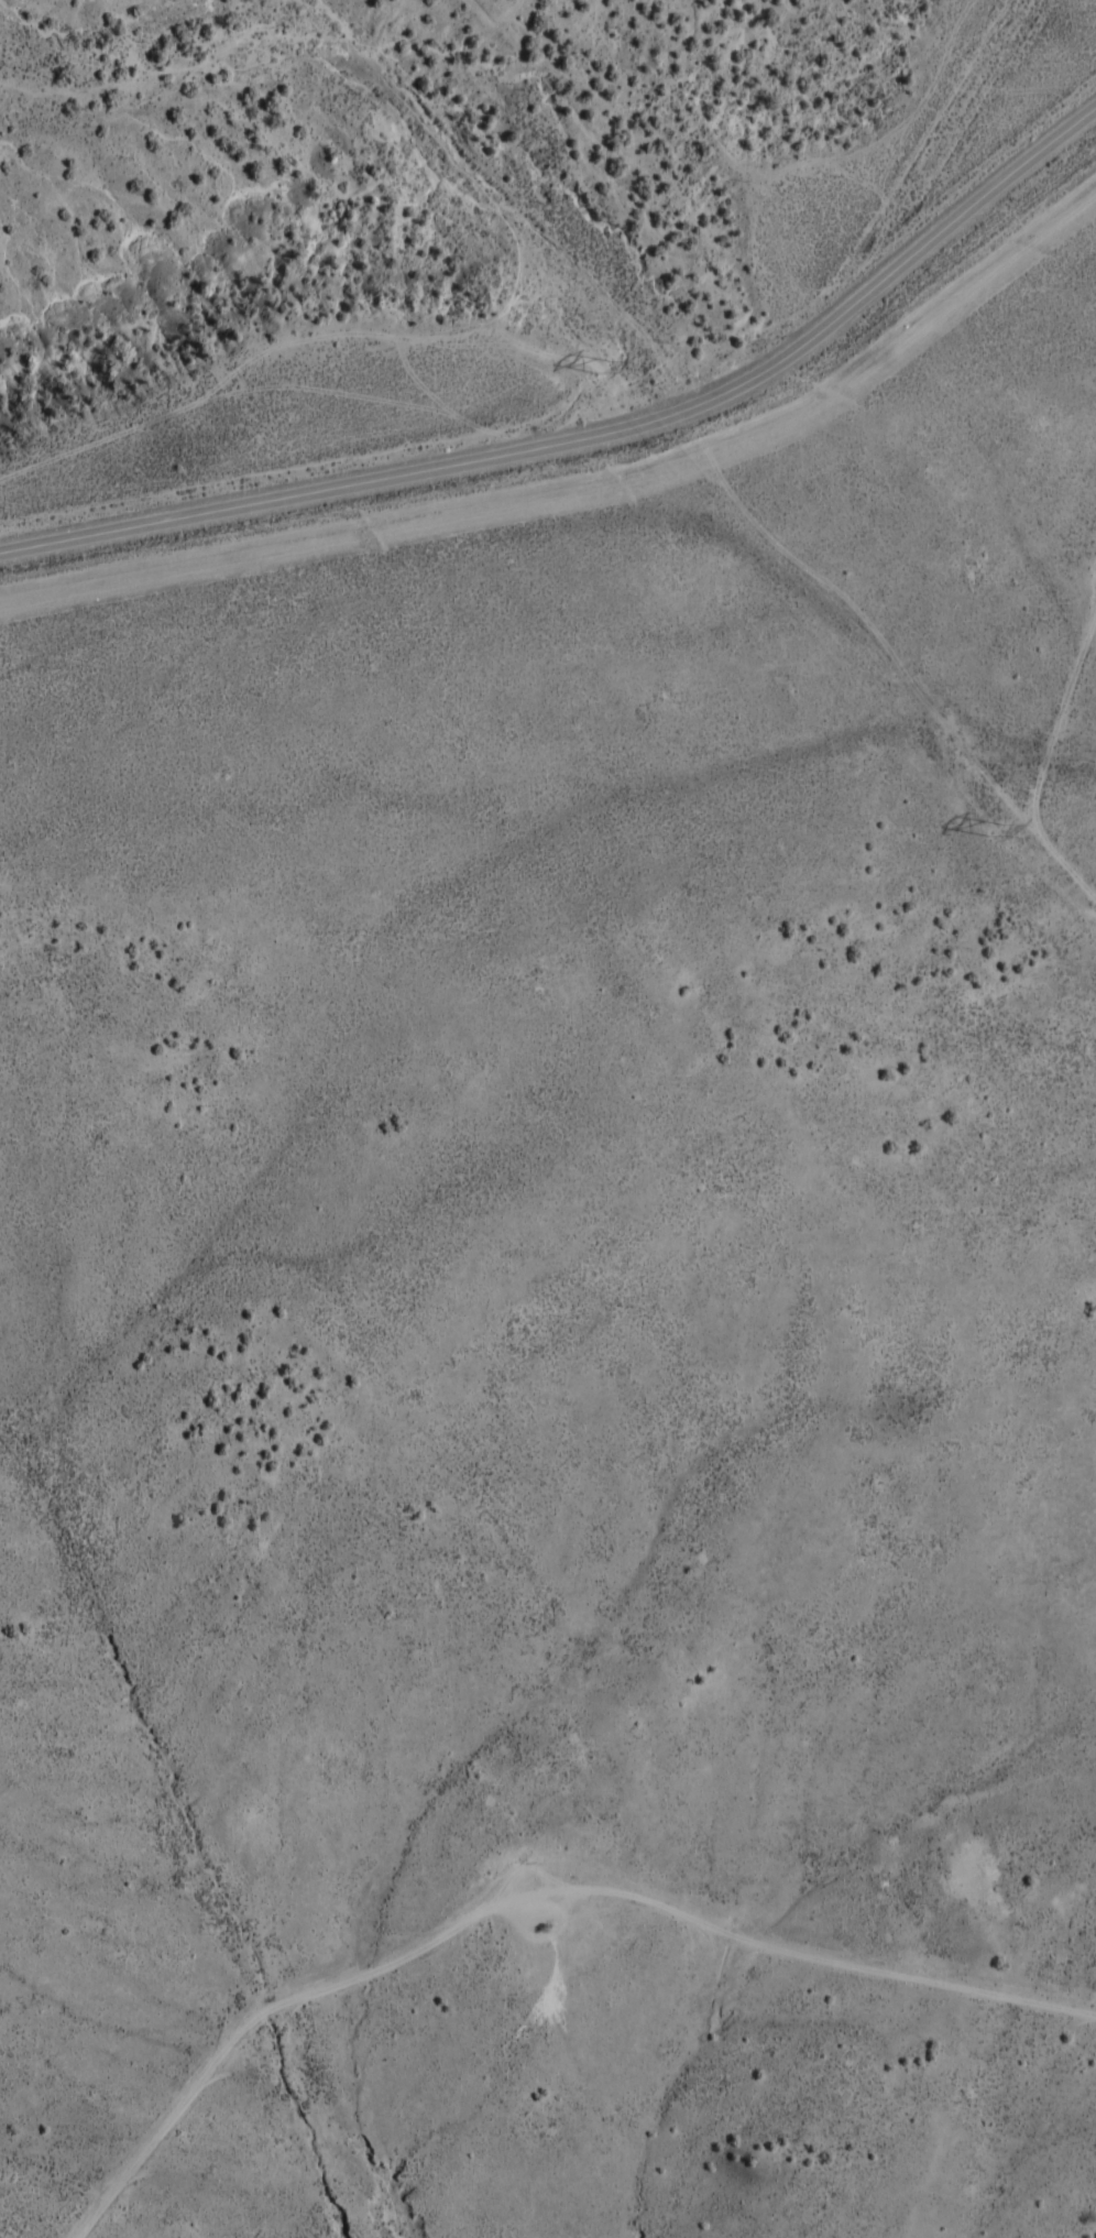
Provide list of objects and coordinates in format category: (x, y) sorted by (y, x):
power tower: (611, 372)
road: (595, 435)
power tower: (994, 831)

